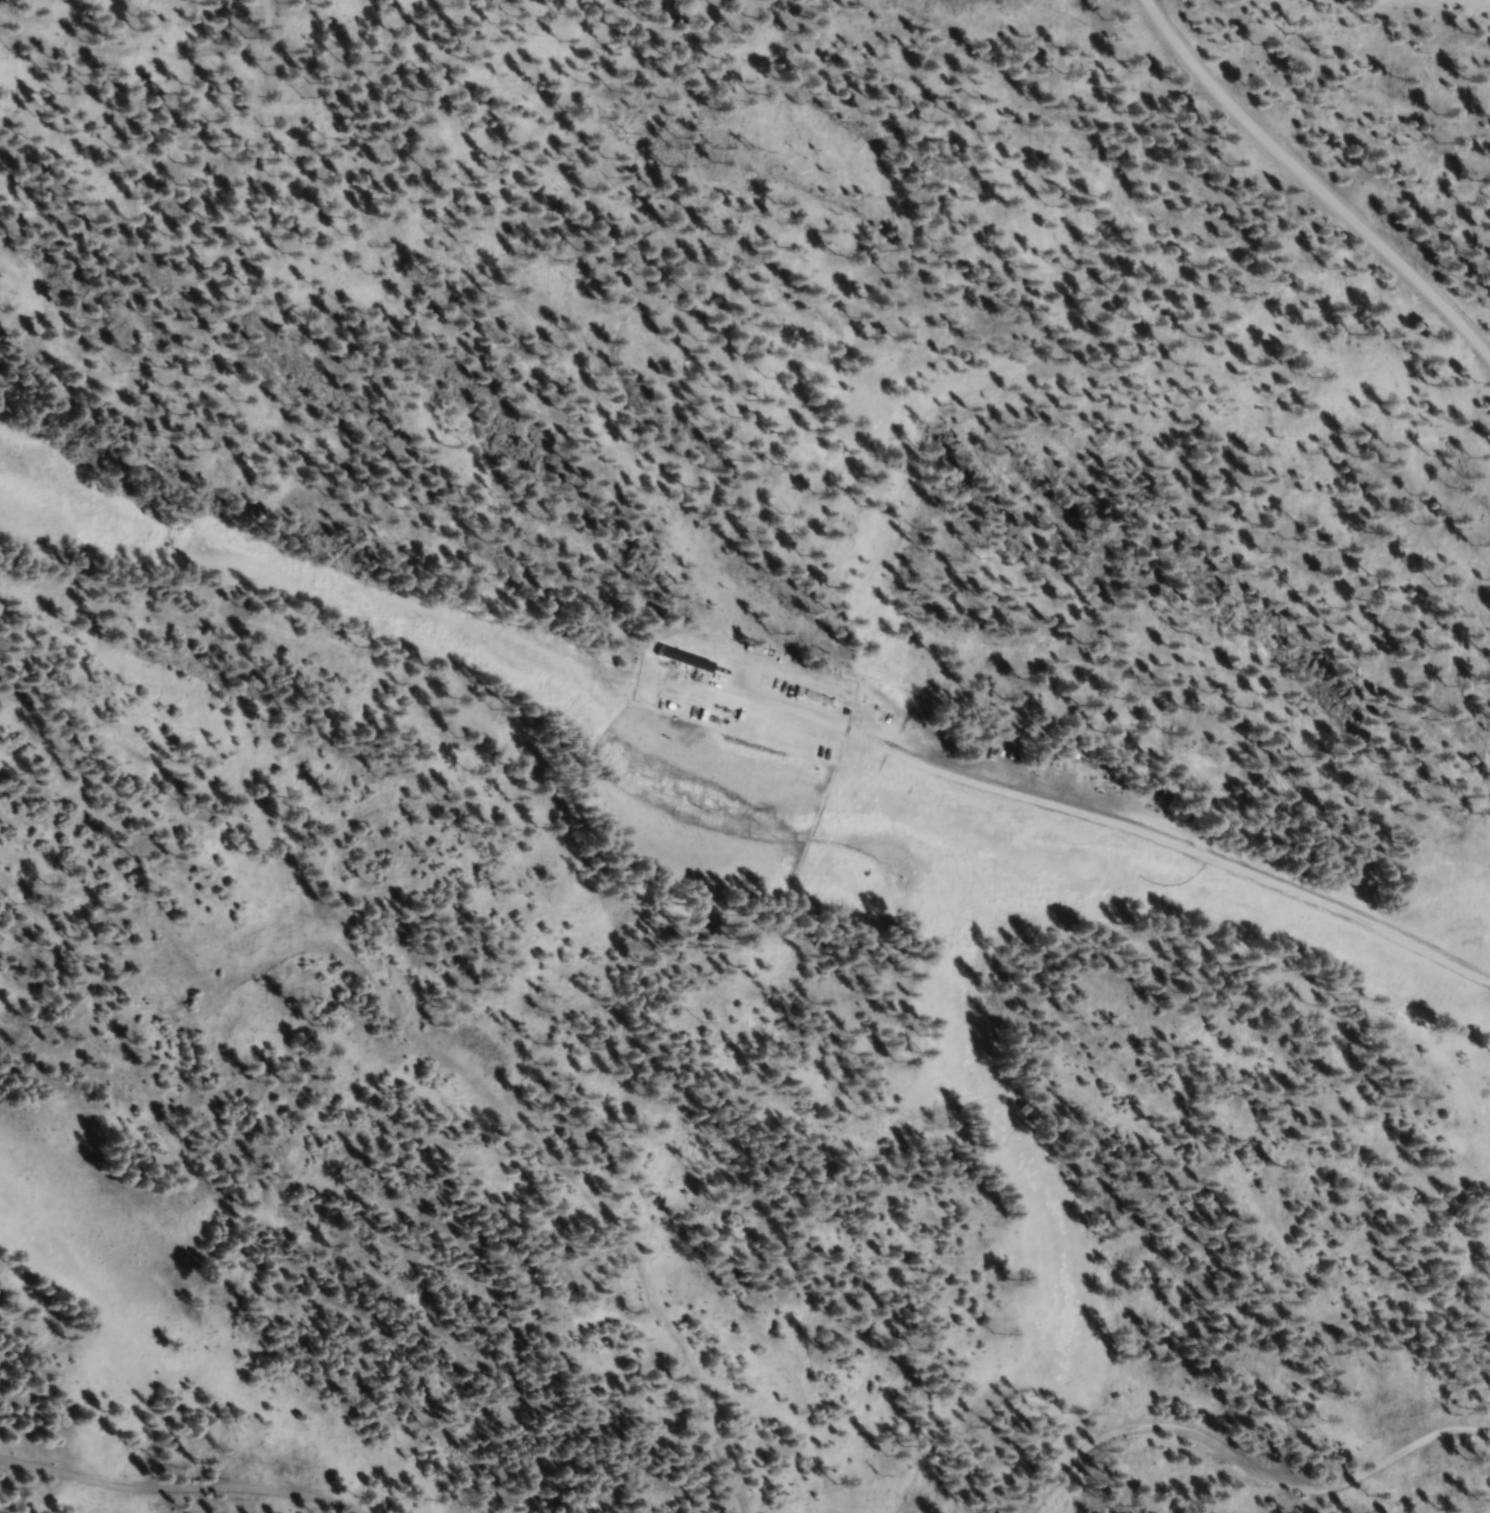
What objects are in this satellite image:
road: (1311, 185)
building: (685, 662)
road: (1243, 1463)
road: (178, 1486)

